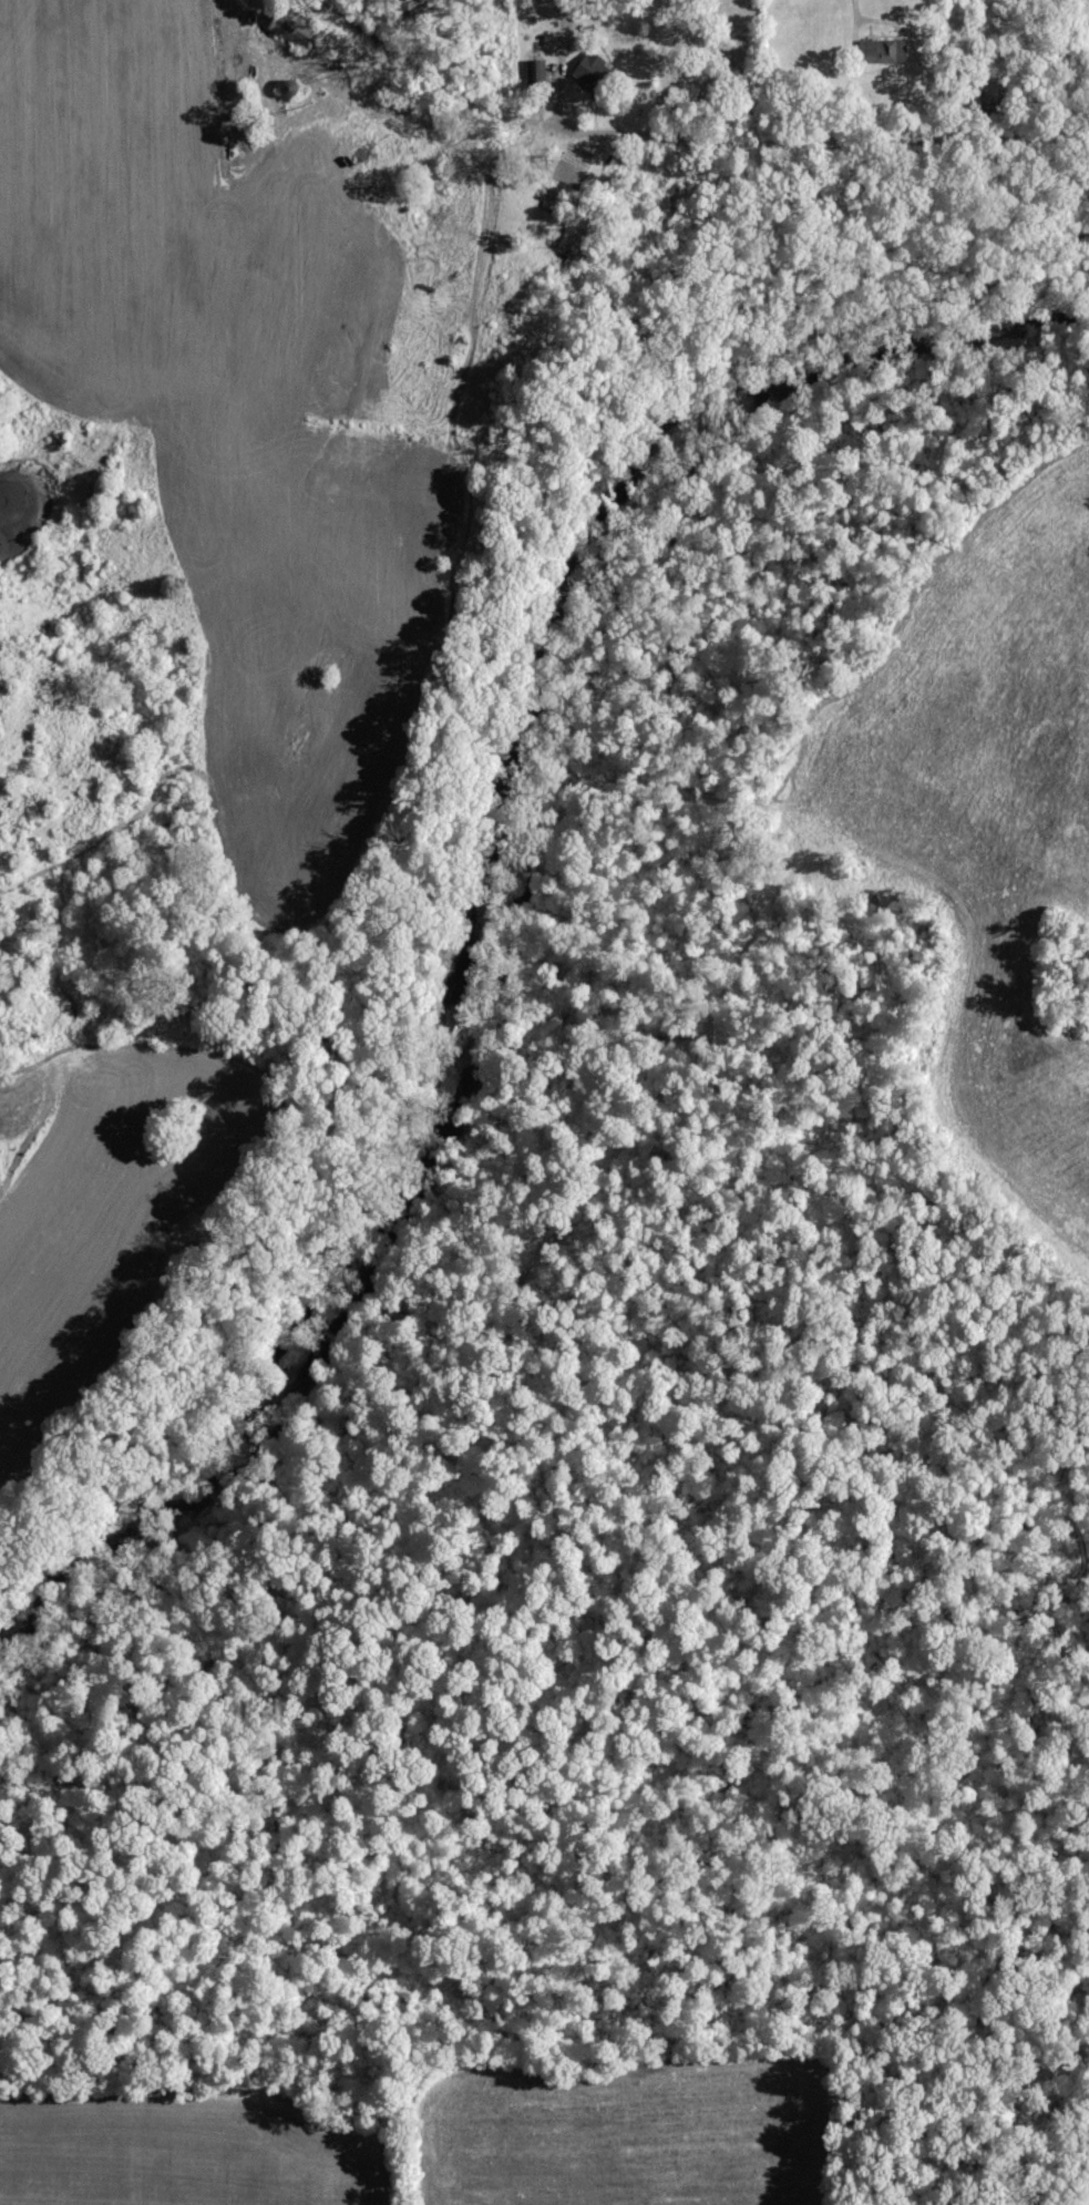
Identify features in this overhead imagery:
road: (860, 7)
building: (884, 51)
building: (594, 73)
road: (758, 136)
river: (473, 866)

